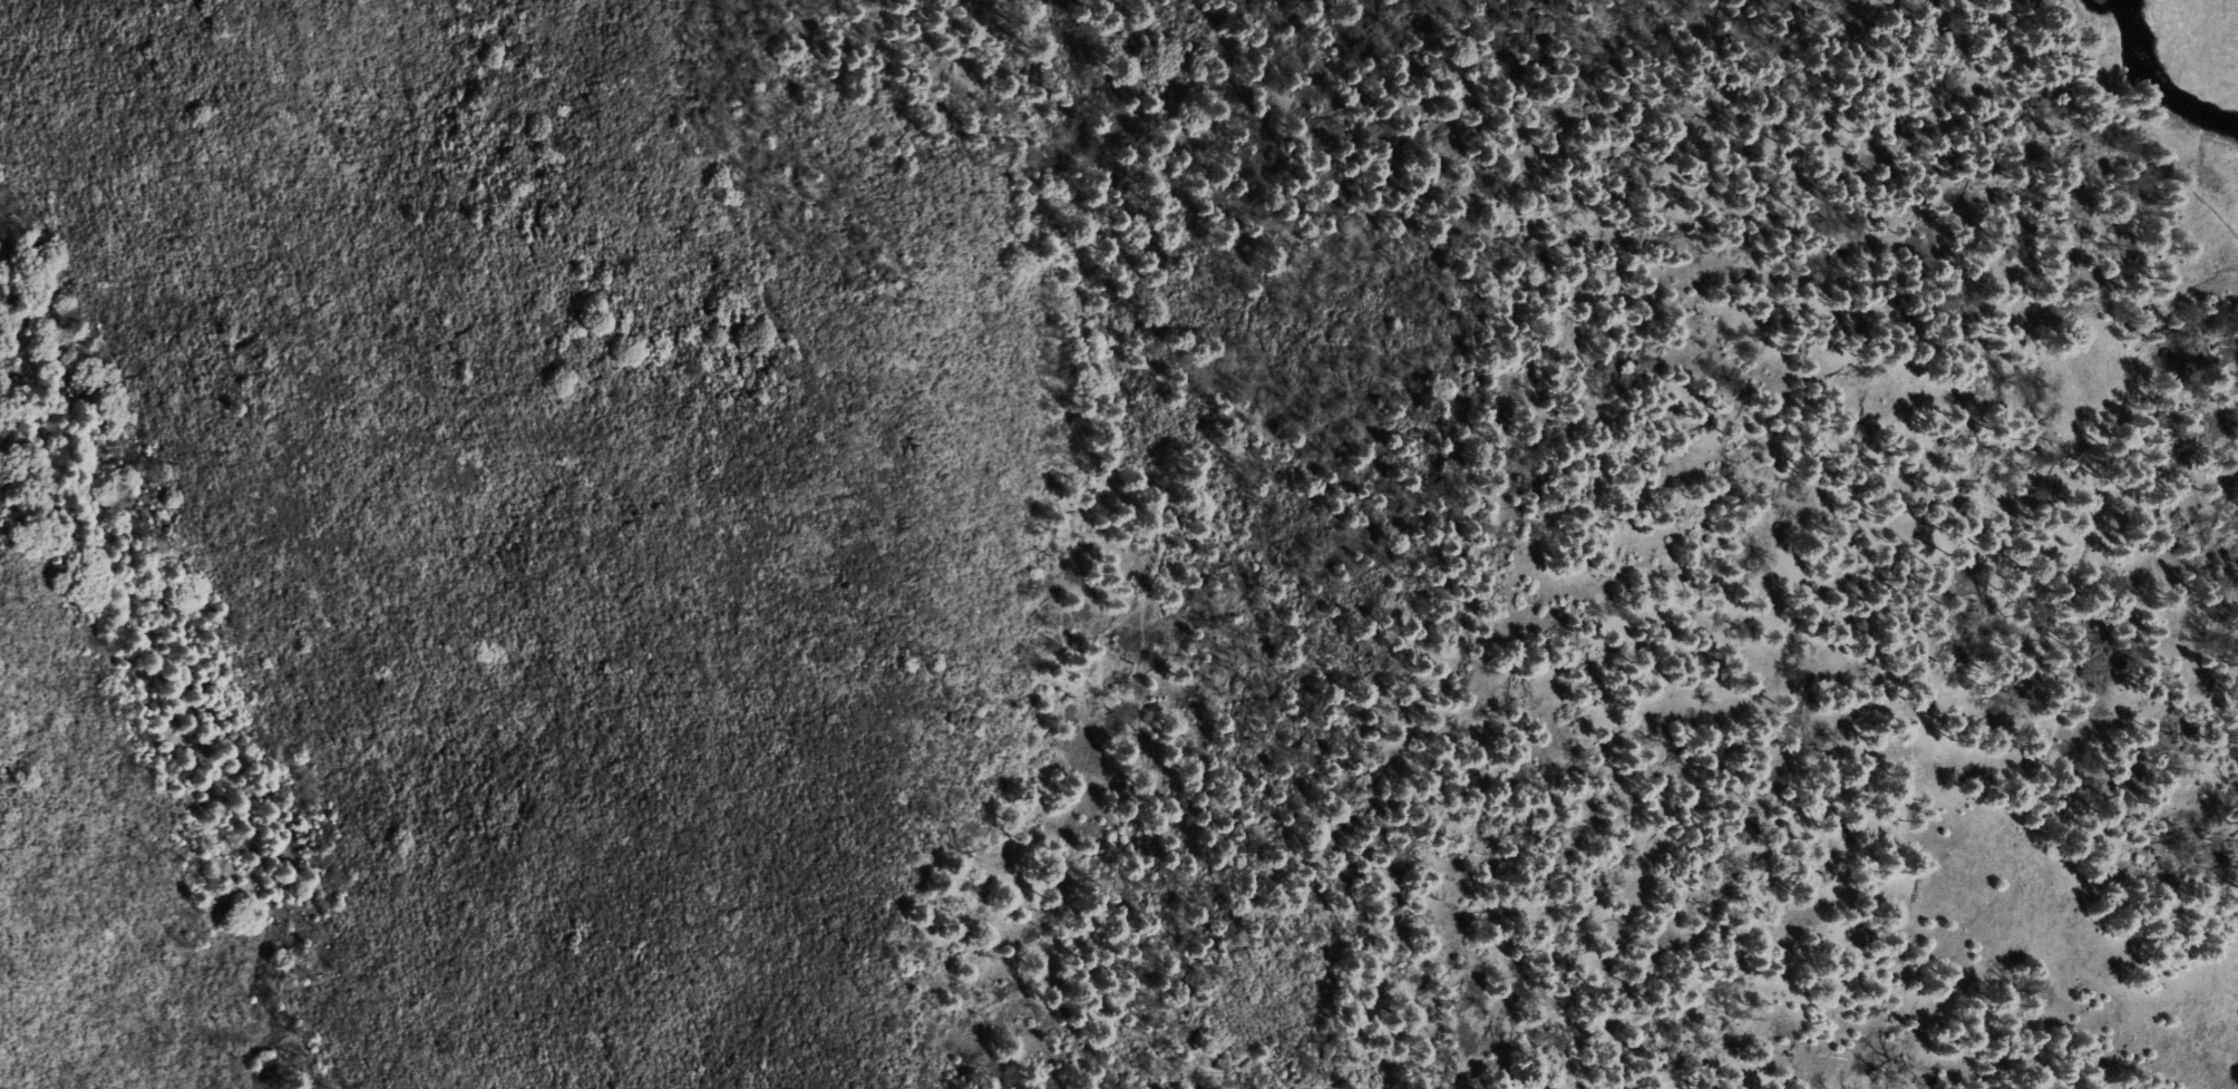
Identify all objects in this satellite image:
road: (2063, 22)
road: (2156, 134)
road: (1253, 305)
road: (1345, 1087)

